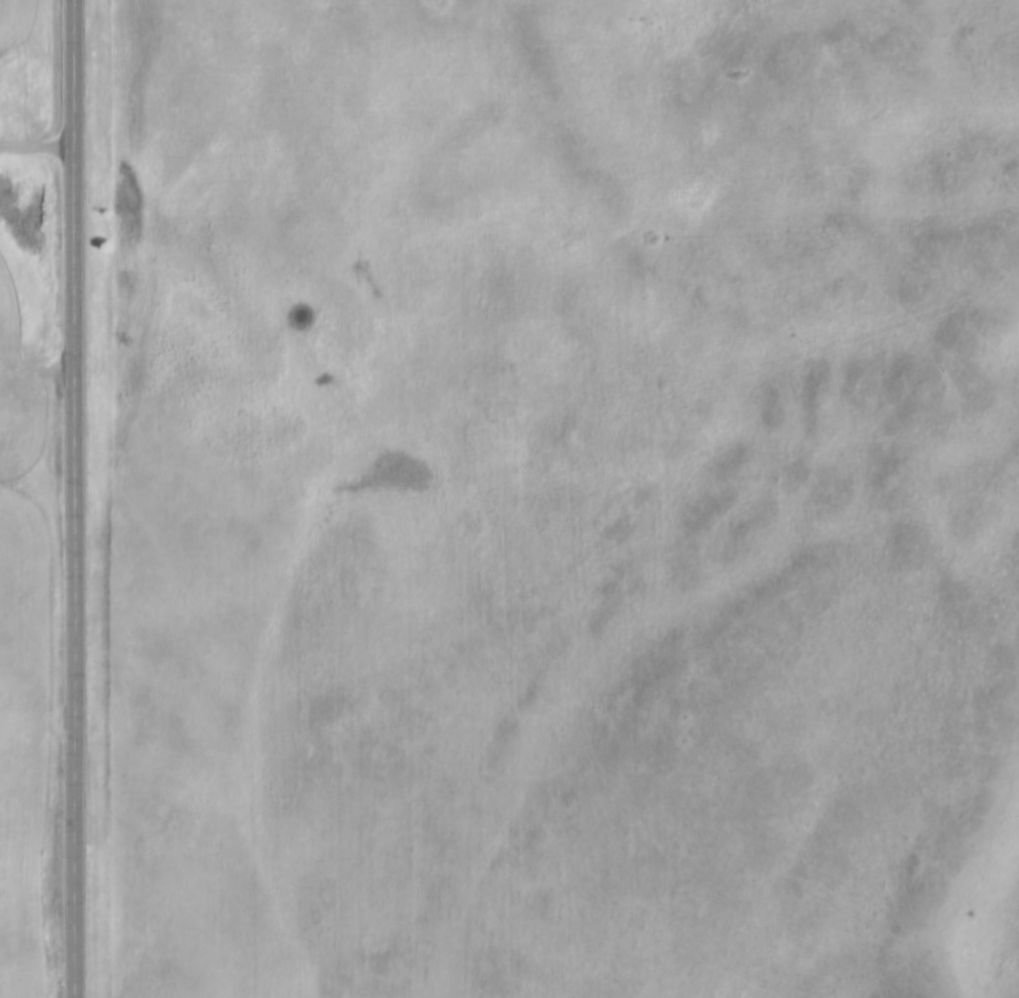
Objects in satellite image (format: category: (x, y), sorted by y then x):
road: (38, 146)
road: (76, 498)

